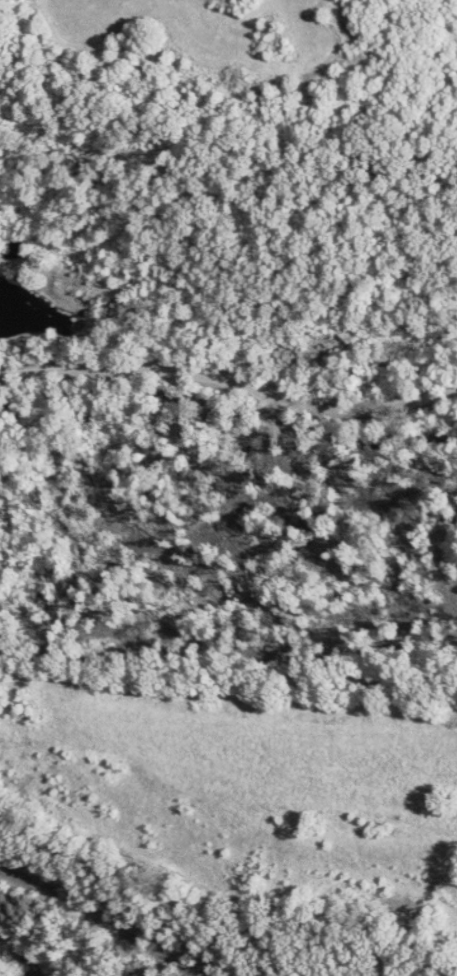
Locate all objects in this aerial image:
road: (230, 386)
road: (105, 917)

